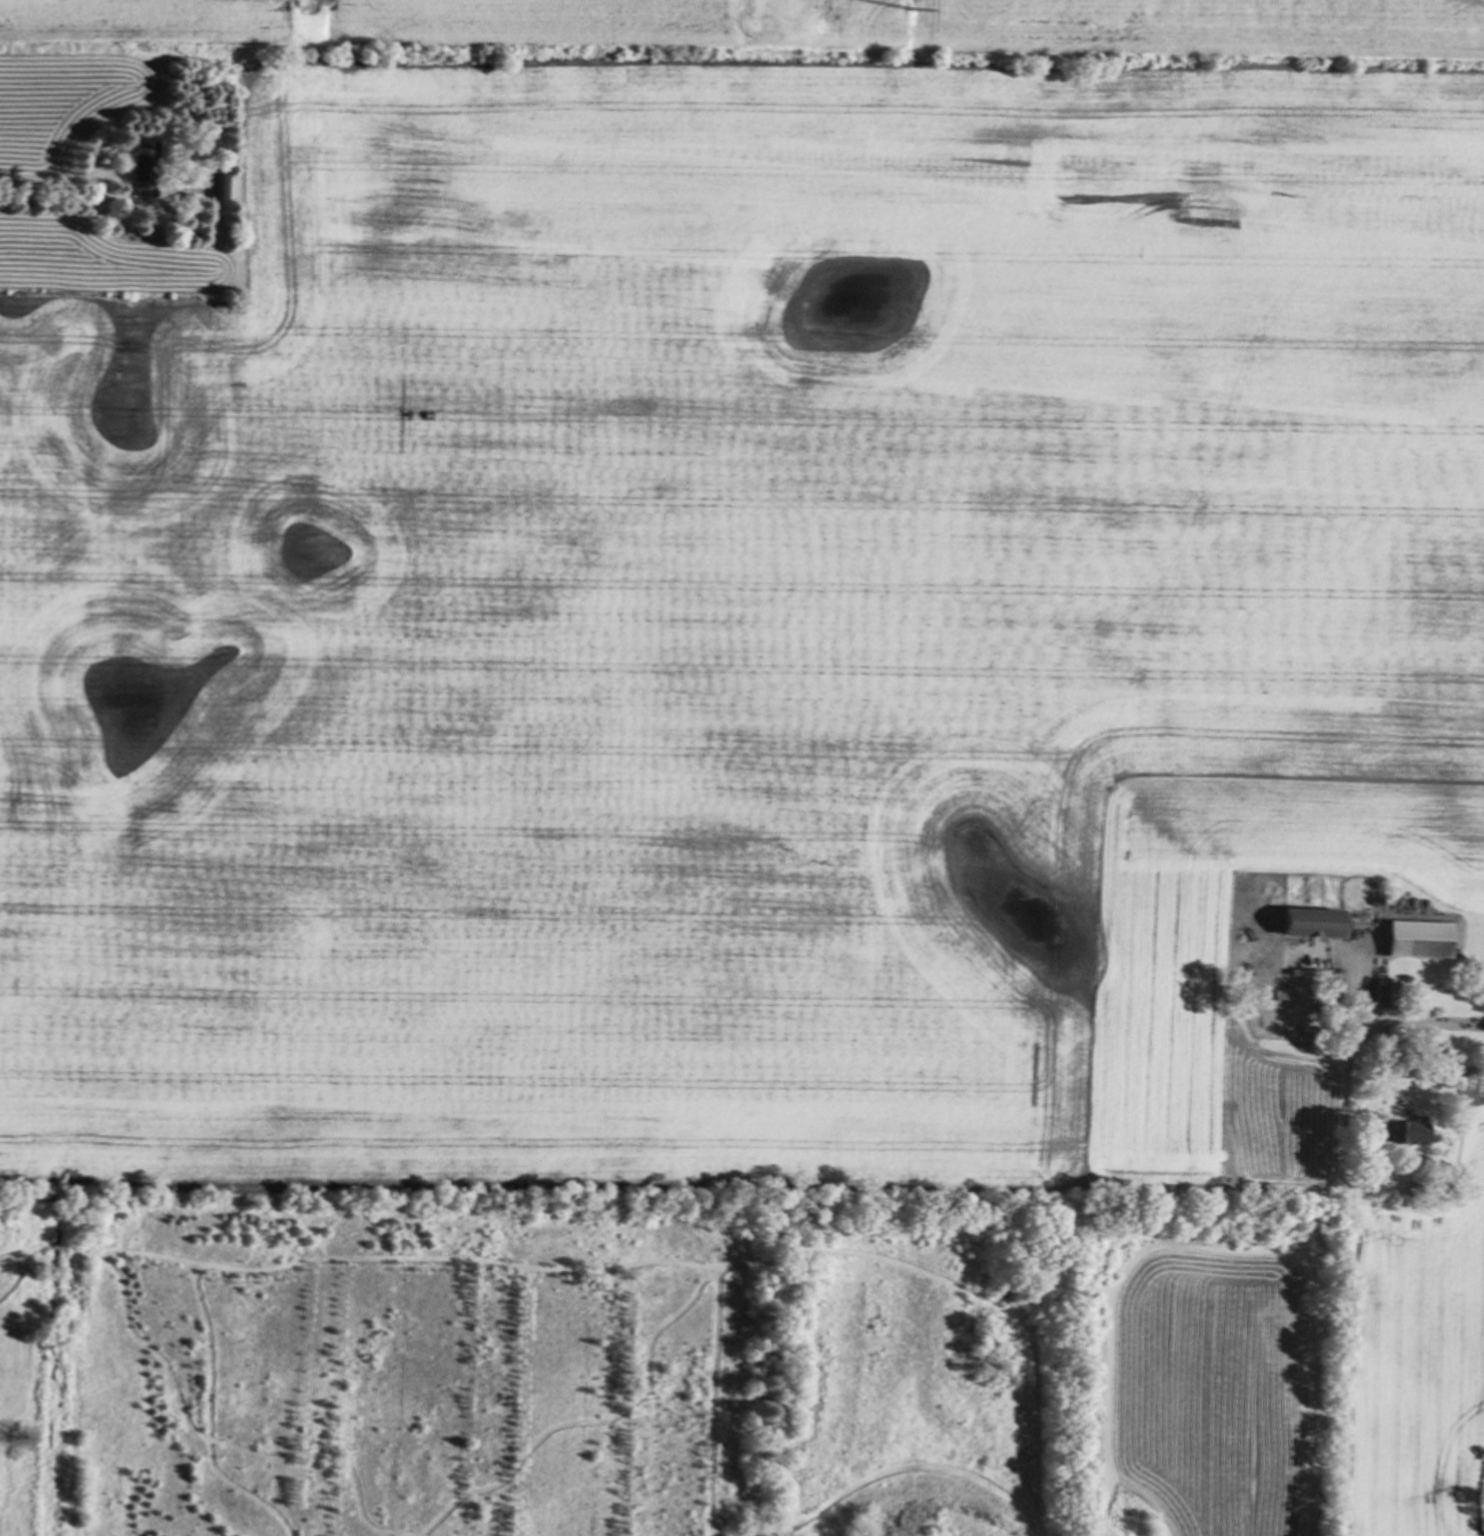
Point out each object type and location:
power tower: (299, 10)
power tower: (925, 20)
building: (143, 167)
building: (218, 186)
road: (77, 201)
crop: (714, 573)
building: (1307, 920)
building: (1416, 937)
building: (1382, 992)
road: (1415, 1022)
building: (1483, 1023)
building: (1408, 1131)
road: (1344, 1245)
crop: (1304, 1369)

